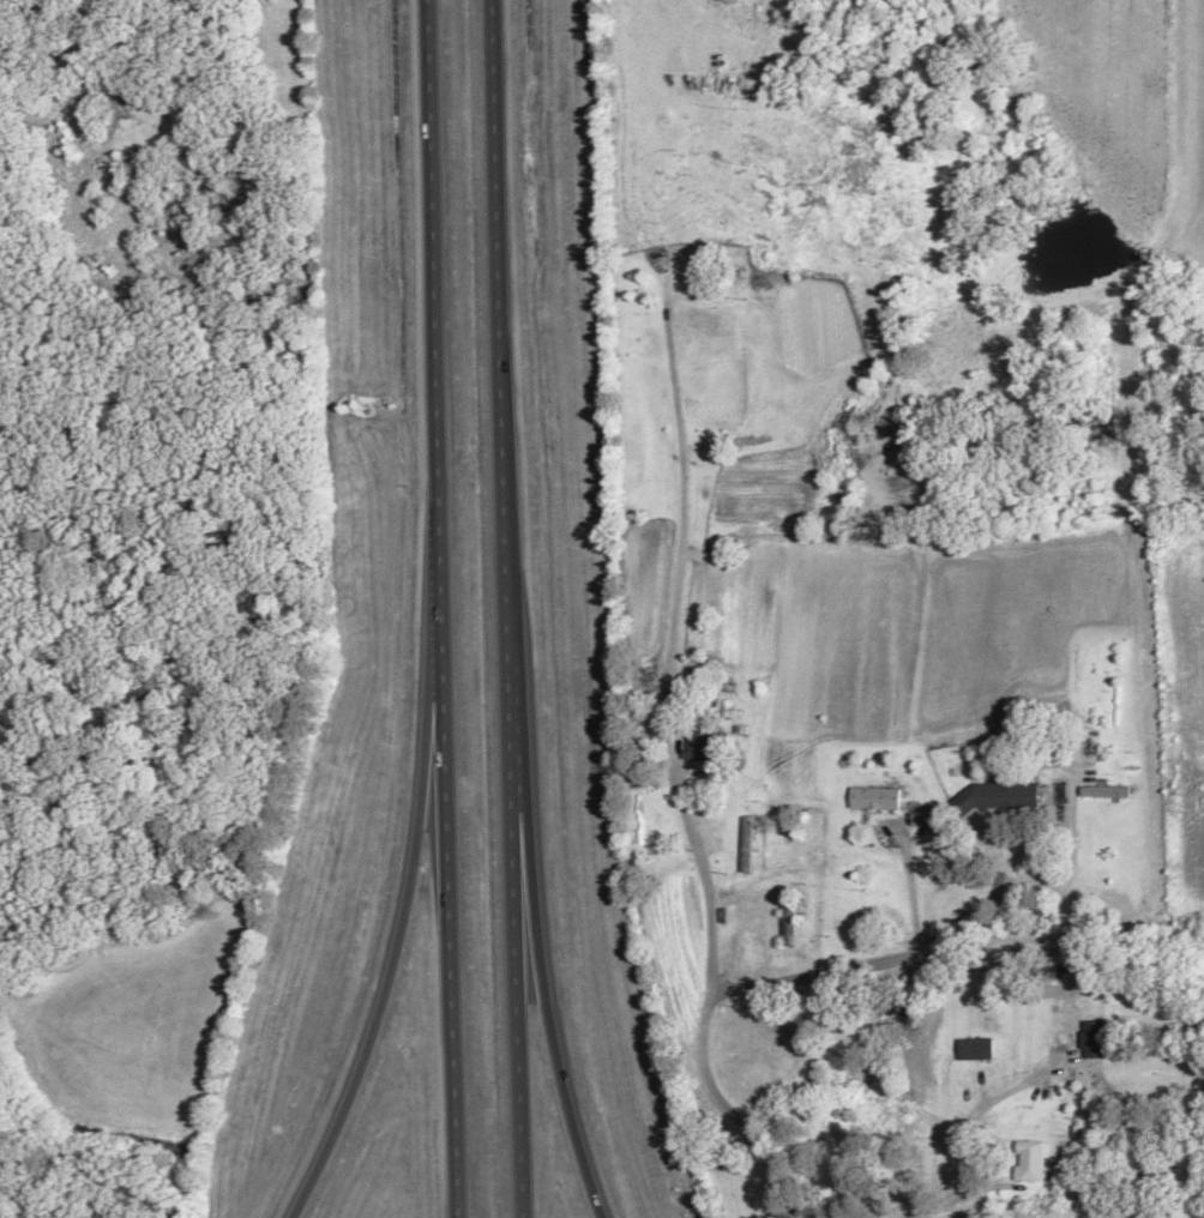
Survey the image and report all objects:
road: (427, 263)
road: (493, 281)
building: (708, 746)
building: (1106, 792)
building: (999, 796)
building: (875, 798)
road: (445, 872)
road: (405, 881)
road: (512, 888)
road: (531, 892)
building: (789, 917)
road: (884, 959)
road: (710, 993)
building: (1094, 1041)
building: (1030, 1162)

